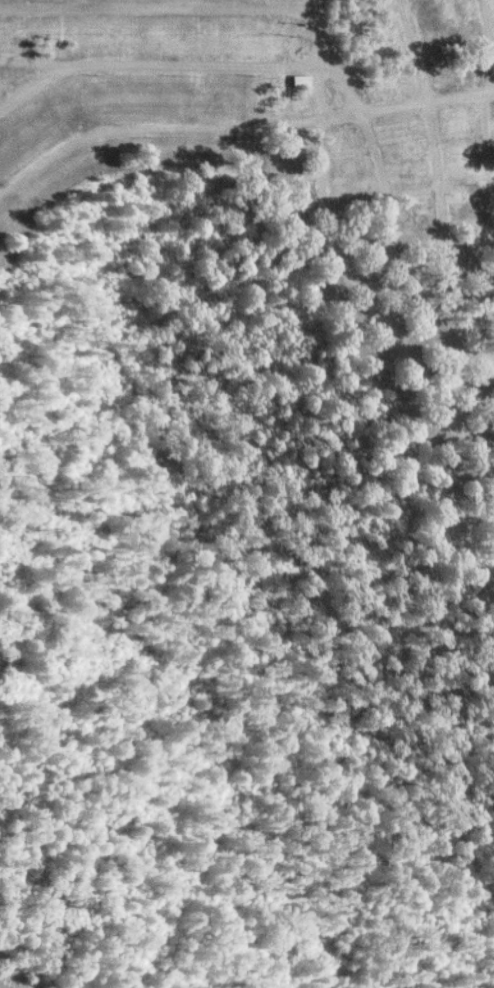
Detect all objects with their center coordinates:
road: (158, 7)
road: (488, 20)
building: (295, 44)
road: (49, 58)
road: (153, 60)
building: (300, 79)
road: (319, 84)
road: (345, 86)
road: (459, 95)
road: (428, 115)
road: (150, 125)
road: (389, 220)
road: (444, 274)
road: (363, 291)
road: (458, 360)

